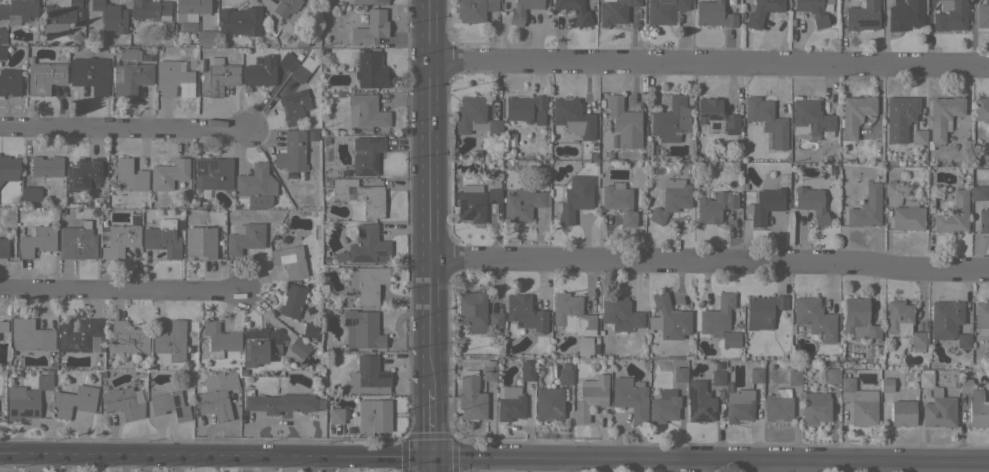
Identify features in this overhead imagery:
building: (370, 1)
building: (286, 7)
building: (190, 9)
building: (474, 9)
building: (18, 10)
building: (151, 10)
building: (522, 10)
building: (664, 10)
building: (814, 10)
building: (574, 11)
building: (615, 11)
building: (761, 11)
building: (714, 14)
building: (982, 14)
building: (905, 15)
building: (949, 15)
building: (862, 16)
building: (61, 17)
building: (110, 17)
building: (240, 21)
building: (371, 27)
building: (2, 35)
building: (206, 37)
building: (2, 52)
building: (287, 61)
rooftop solar panel: (234, 64)
building: (201, 65)
road: (709, 66)
building: (372, 69)
building: (130, 72)
building: (260, 72)
building: (90, 73)
building: (299, 73)
building: (220, 76)
building: (44, 77)
building: (173, 78)
building: (9, 81)
building: (294, 106)
rooftop solar panel: (285, 108)
building: (525, 108)
building: (981, 108)
building: (365, 110)
building: (854, 114)
building: (715, 116)
building: (475, 117)
building: (573, 117)
building: (899, 117)
building: (943, 117)
rooftop solar panel: (714, 119)
building: (766, 119)
building: (810, 119)
building: (670, 120)
building: (624, 122)
rooftop solar panel: (716, 127)
road: (126, 128)
building: (311, 136)
building: (918, 136)
rooftop solar panel: (370, 141)
building: (292, 151)
building: (366, 154)
building: (601, 155)
building: (592, 156)
rooftop solar panel: (376, 161)
building: (46, 166)
building: (8, 168)
building: (214, 172)
rooftop solar panel: (365, 172)
building: (84, 173)
building: (168, 173)
building: (129, 175)
building: (255, 181)
building: (343, 184)
building: (892, 188)
building: (494, 192)
building: (979, 192)
building: (30, 193)
building: (573, 199)
building: (671, 199)
building: (257, 200)
building: (370, 200)
building: (811, 201)
building: (619, 202)
building: (523, 204)
building: (765, 205)
building: (471, 206)
building: (714, 206)
building: (866, 208)
building: (953, 214)
building: (908, 216)
building: (983, 220)
building: (102, 232)
road: (430, 236)
building: (121, 237)
building: (245, 237)
building: (163, 238)
building: (36, 240)
building: (77, 242)
building: (200, 242)
building: (367, 245)
building: (3, 246)
building: (339, 257)
building: (290, 260)
road: (709, 263)
building: (367, 283)
road: (122, 291)
building: (292, 301)
building: (472, 310)
building: (763, 310)
building: (525, 313)
building: (572, 314)
building: (620, 314)
building: (899, 316)
building: (814, 317)
building: (668, 318)
building: (858, 318)
building: (945, 318)
building: (981, 318)
building: (495, 320)
building: (720, 321)
building: (3, 326)
rooftop solar panel: (77, 326)
building: (309, 329)
building: (362, 329)
building: (80, 334)
building: (30, 335)
rooftop solar panel: (63, 339)
building: (128, 339)
building: (220, 339)
building: (171, 340)
building: (918, 340)
building: (963, 340)
building: (270, 345)
building: (527, 370)
building: (489, 371)
rooftop solar panel: (362, 373)
building: (565, 374)
building: (679, 374)
building: (755, 375)
building: (832, 375)
building: (368, 376)
rooftop solar panel: (386, 376)
building: (717, 377)
building: (794, 377)
building: (925, 378)
building: (44, 382)
building: (886, 384)
building: (964, 385)
building: (217, 395)
rooftop solar panel: (137, 396)
building: (471, 397)
building: (591, 397)
building: (630, 398)
building: (74, 400)
rooftop solar panel: (175, 401)
building: (279, 402)
building: (699, 402)
building: (859, 402)
building: (21, 403)
building: (122, 403)
building: (510, 403)
building: (549, 403)
building: (169, 404)
building: (739, 405)
building: (778, 405)
building: (664, 406)
building: (815, 407)
building: (939, 410)
building: (978, 410)
rooftop solar panel: (177, 413)
building: (902, 413)
building: (375, 414)
building: (336, 419)
road: (494, 454)

